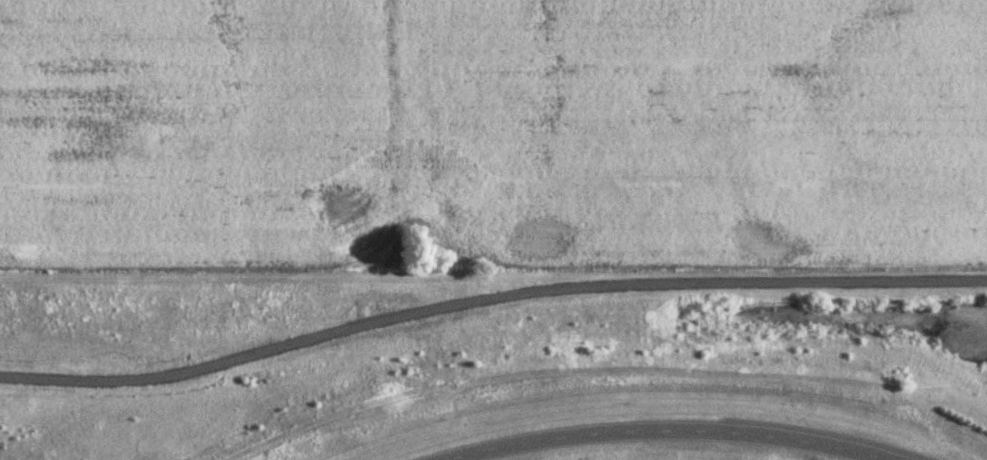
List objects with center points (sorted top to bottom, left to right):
road: (488, 296)
raceway: (664, 432)

